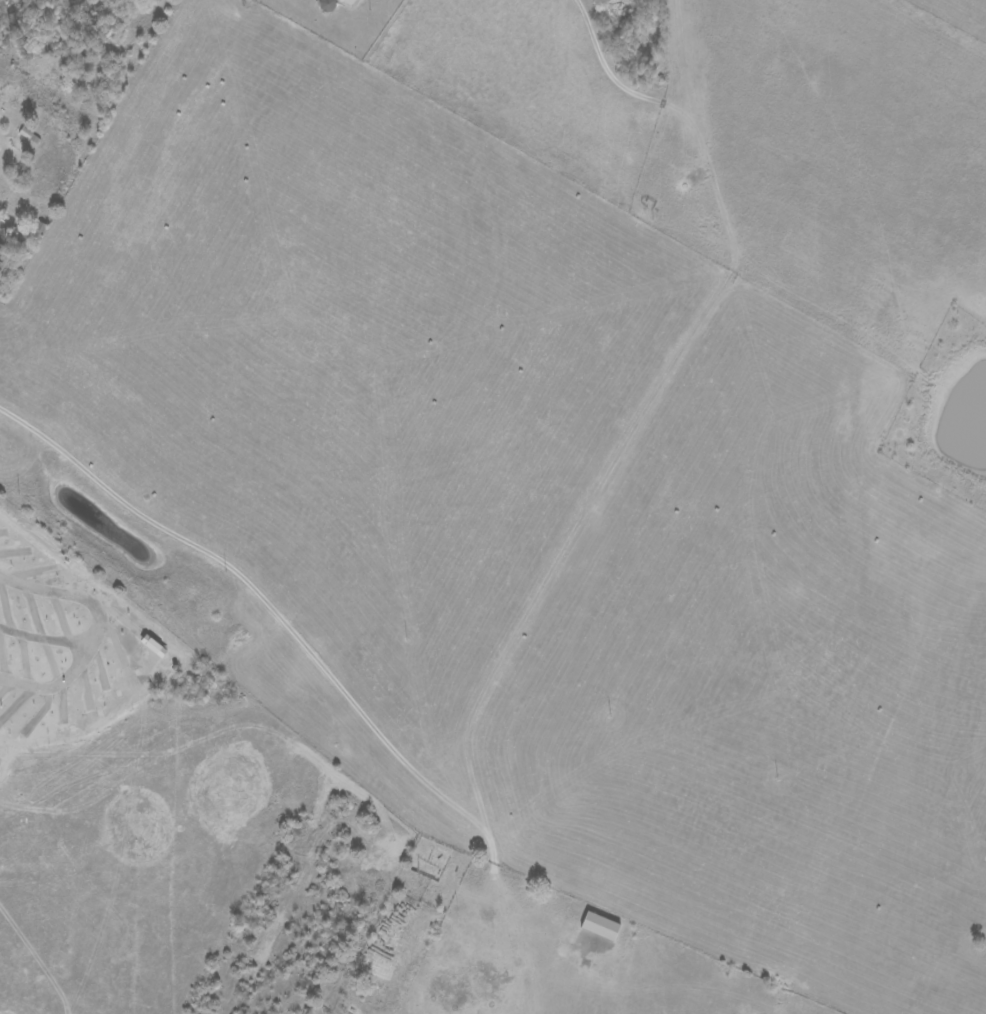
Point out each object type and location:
building: (351, 1)
building: (1, 252)
building: (601, 926)

